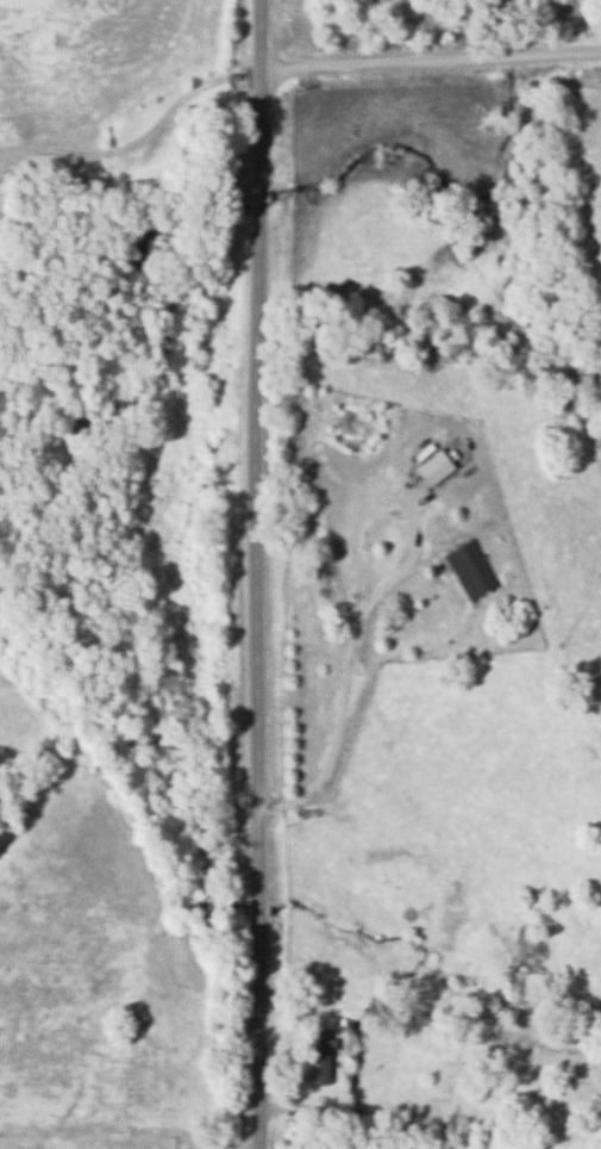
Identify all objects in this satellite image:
road: (433, 63)
road: (143, 142)
building: (433, 467)
building: (469, 570)
road: (256, 573)
road: (350, 657)
building: (320, 1056)

